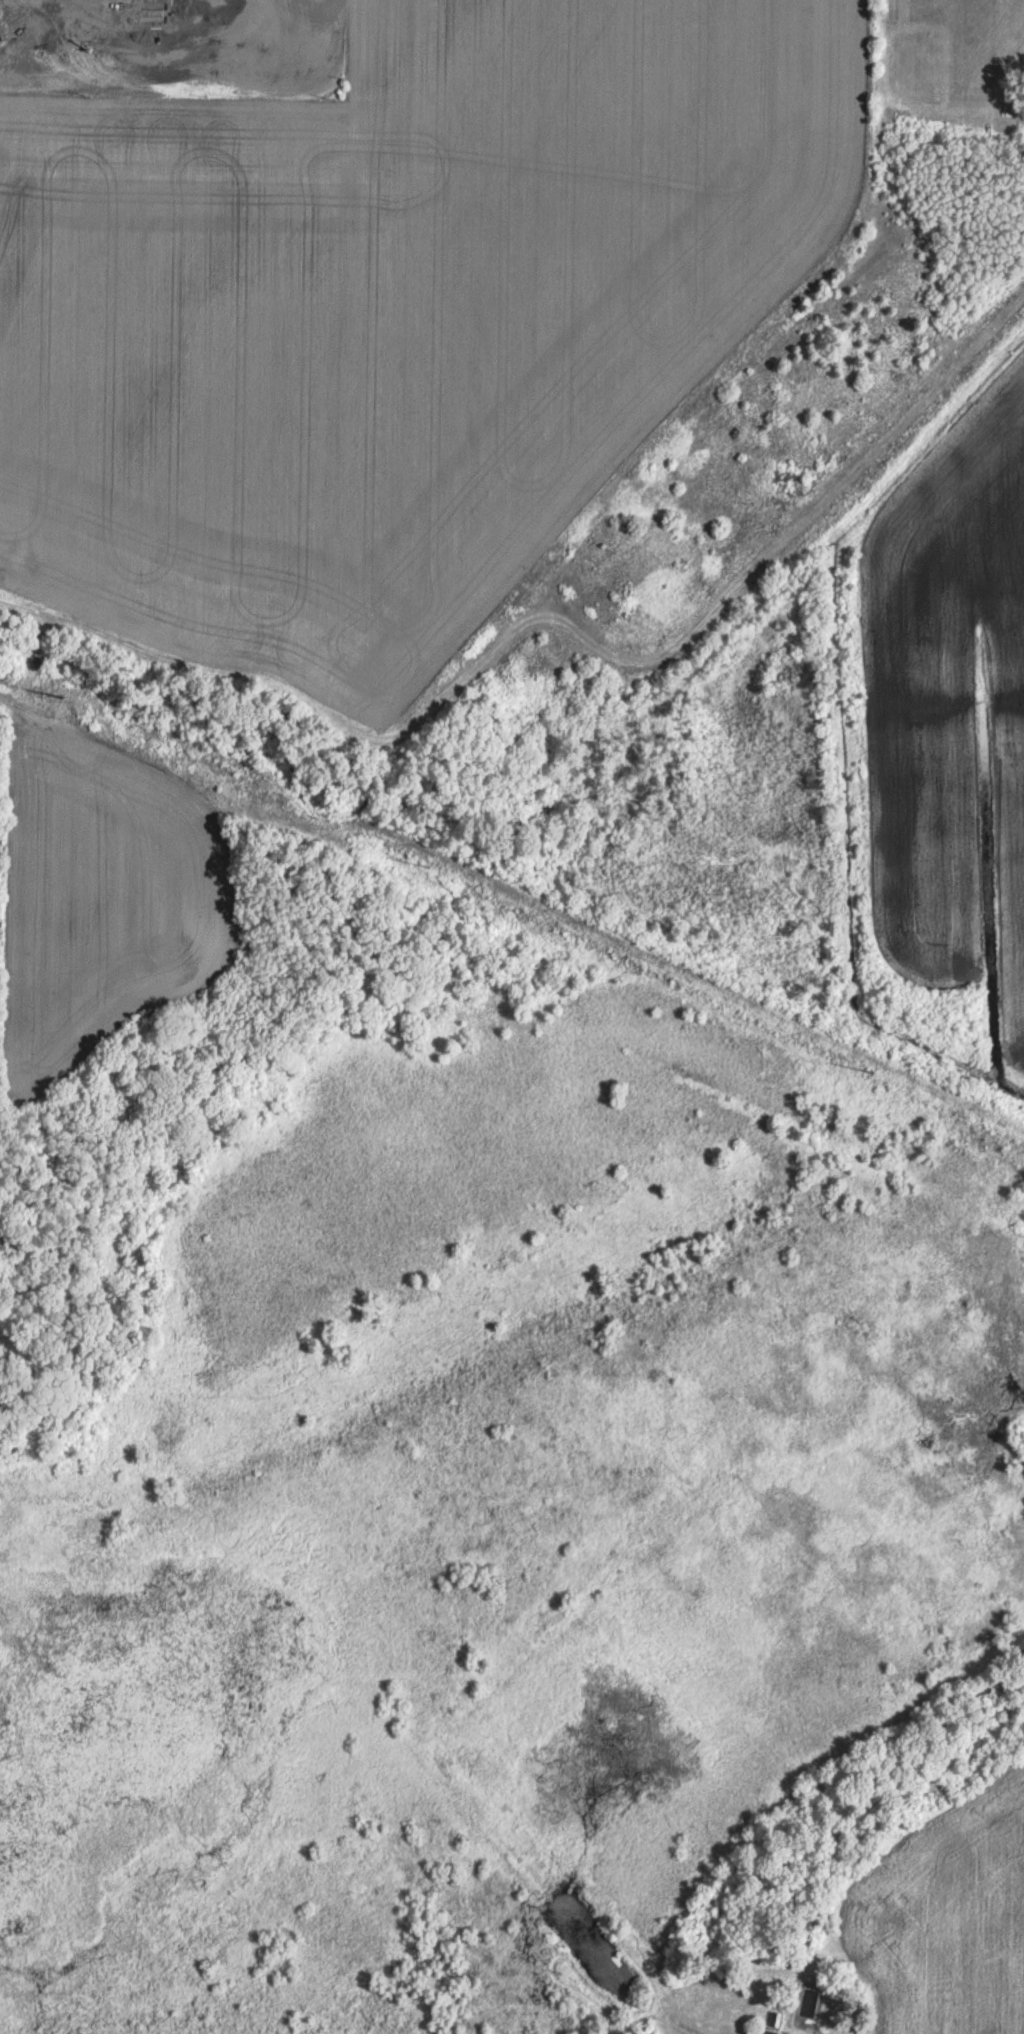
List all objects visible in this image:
building: (775, 2032)

